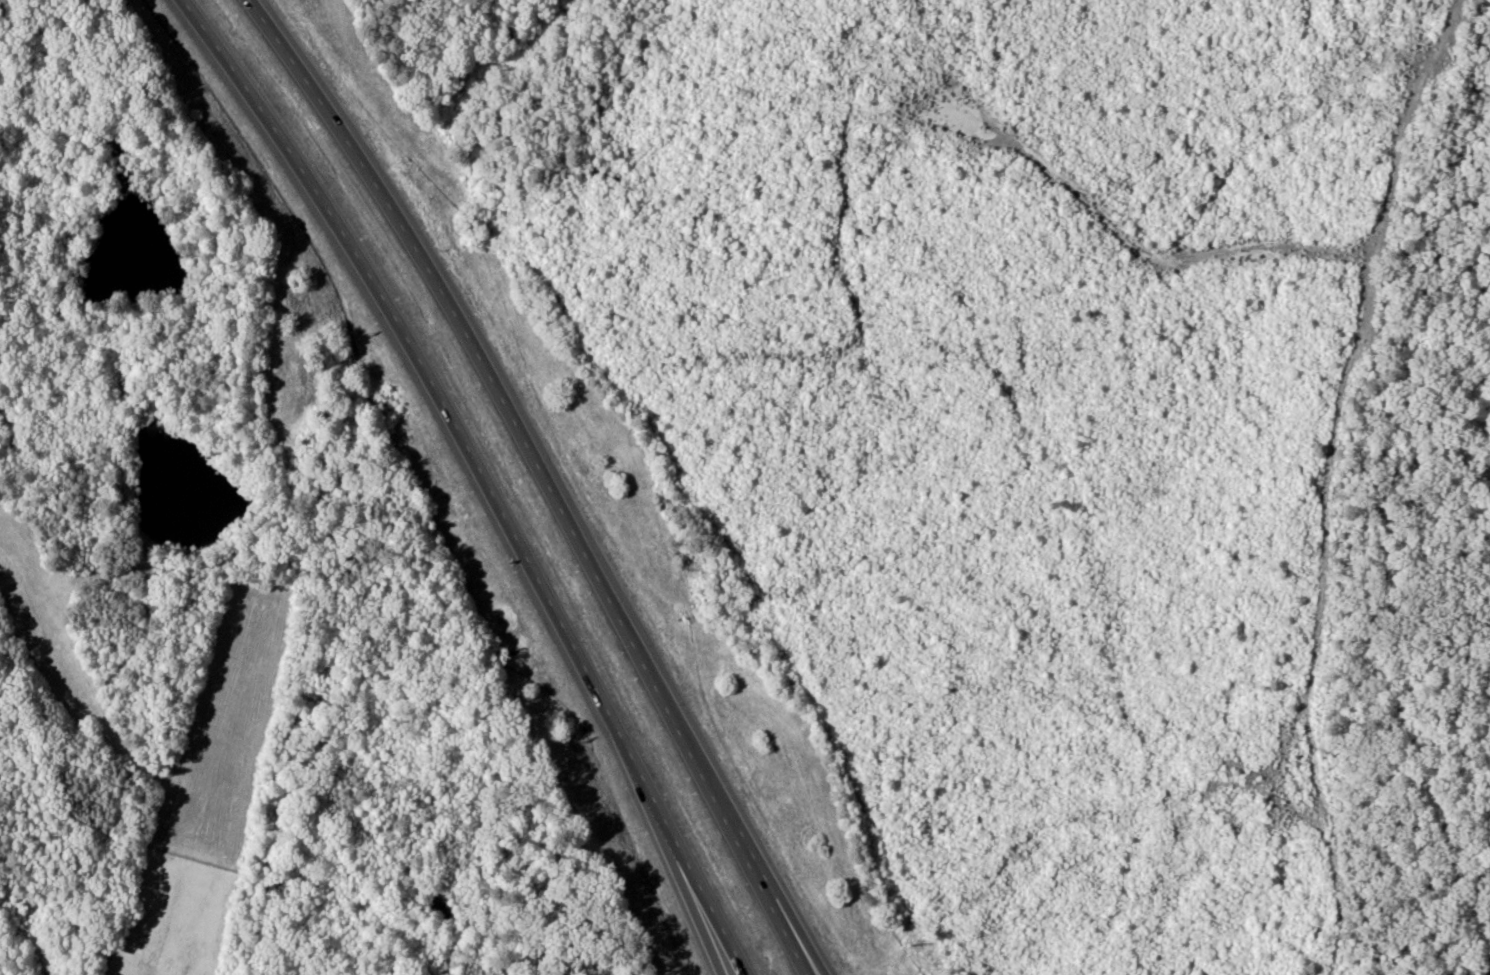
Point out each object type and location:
road: (501, 473)
road: (555, 473)
road: (723, 945)

